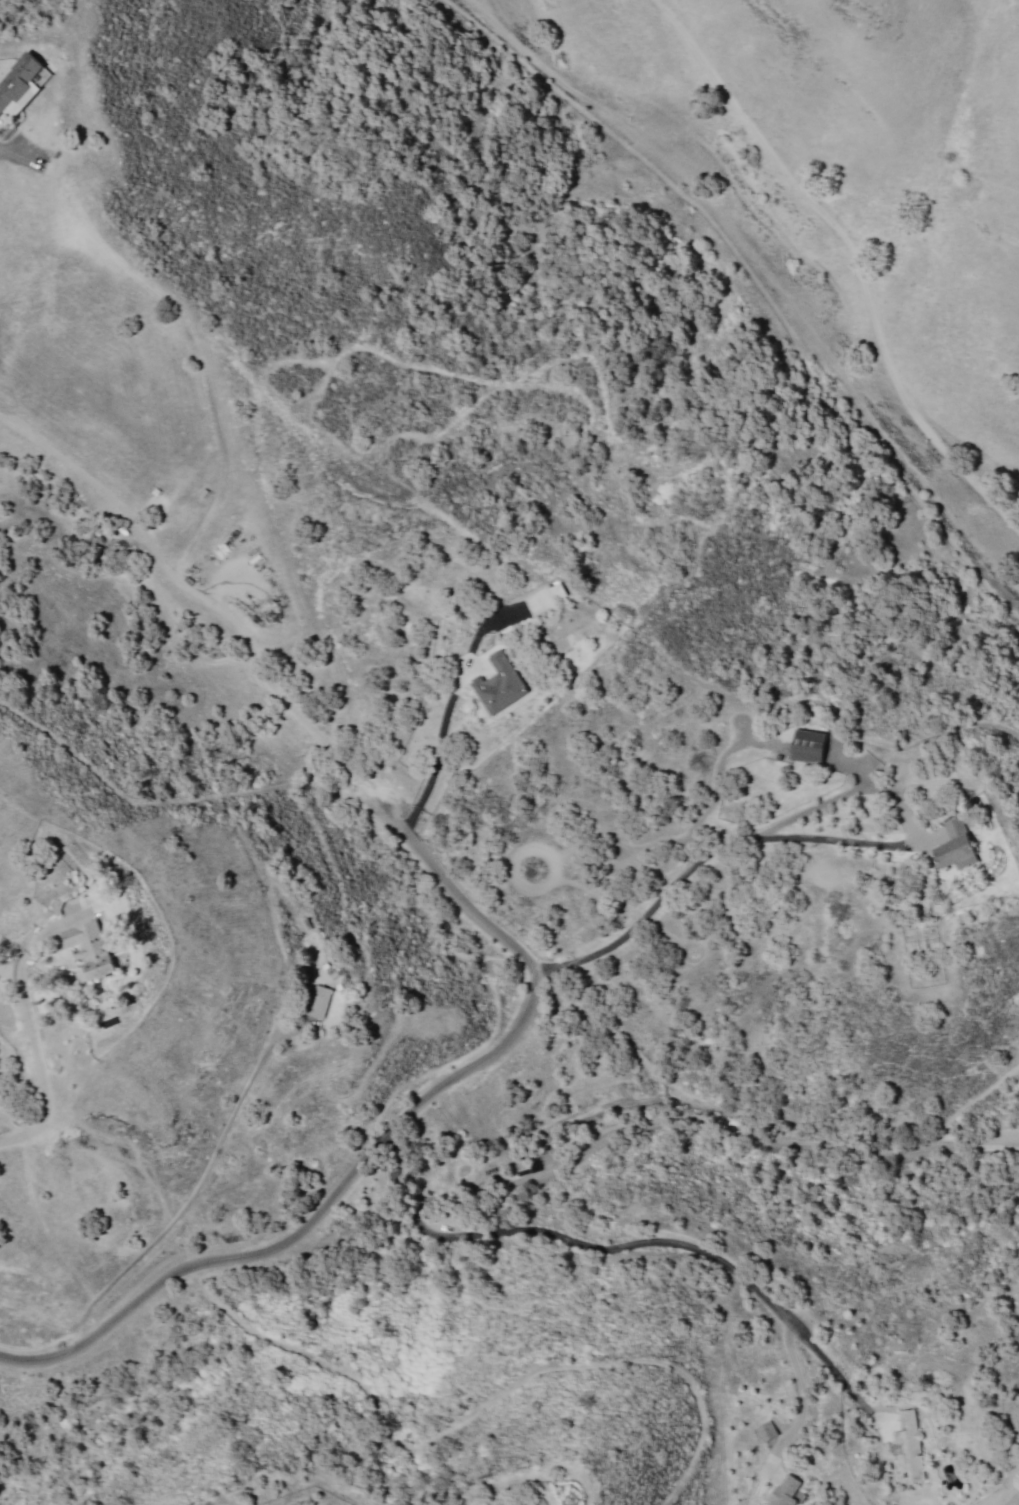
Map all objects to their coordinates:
building: (20, 85)
road: (807, 197)
building: (559, 591)
building: (500, 684)
building: (811, 747)
road: (670, 842)
building: (957, 844)
building: (92, 948)
building: (318, 1002)
road: (367, 1142)
road: (65, 1373)
building: (766, 1432)
road: (424, 1441)
building: (910, 1449)
building: (788, 1491)

